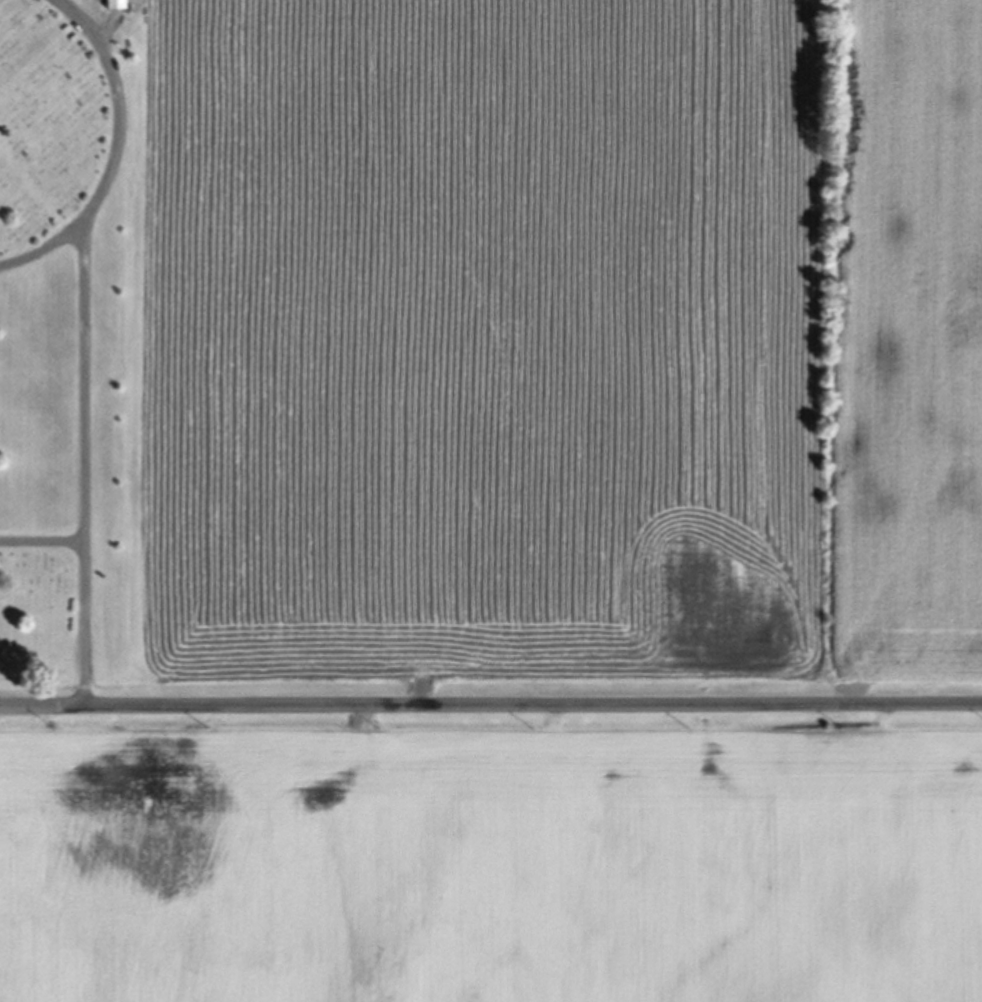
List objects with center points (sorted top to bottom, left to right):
building: (113, 6)
road: (124, 155)
park: (76, 345)
road: (87, 471)
road: (43, 549)
road: (490, 706)

